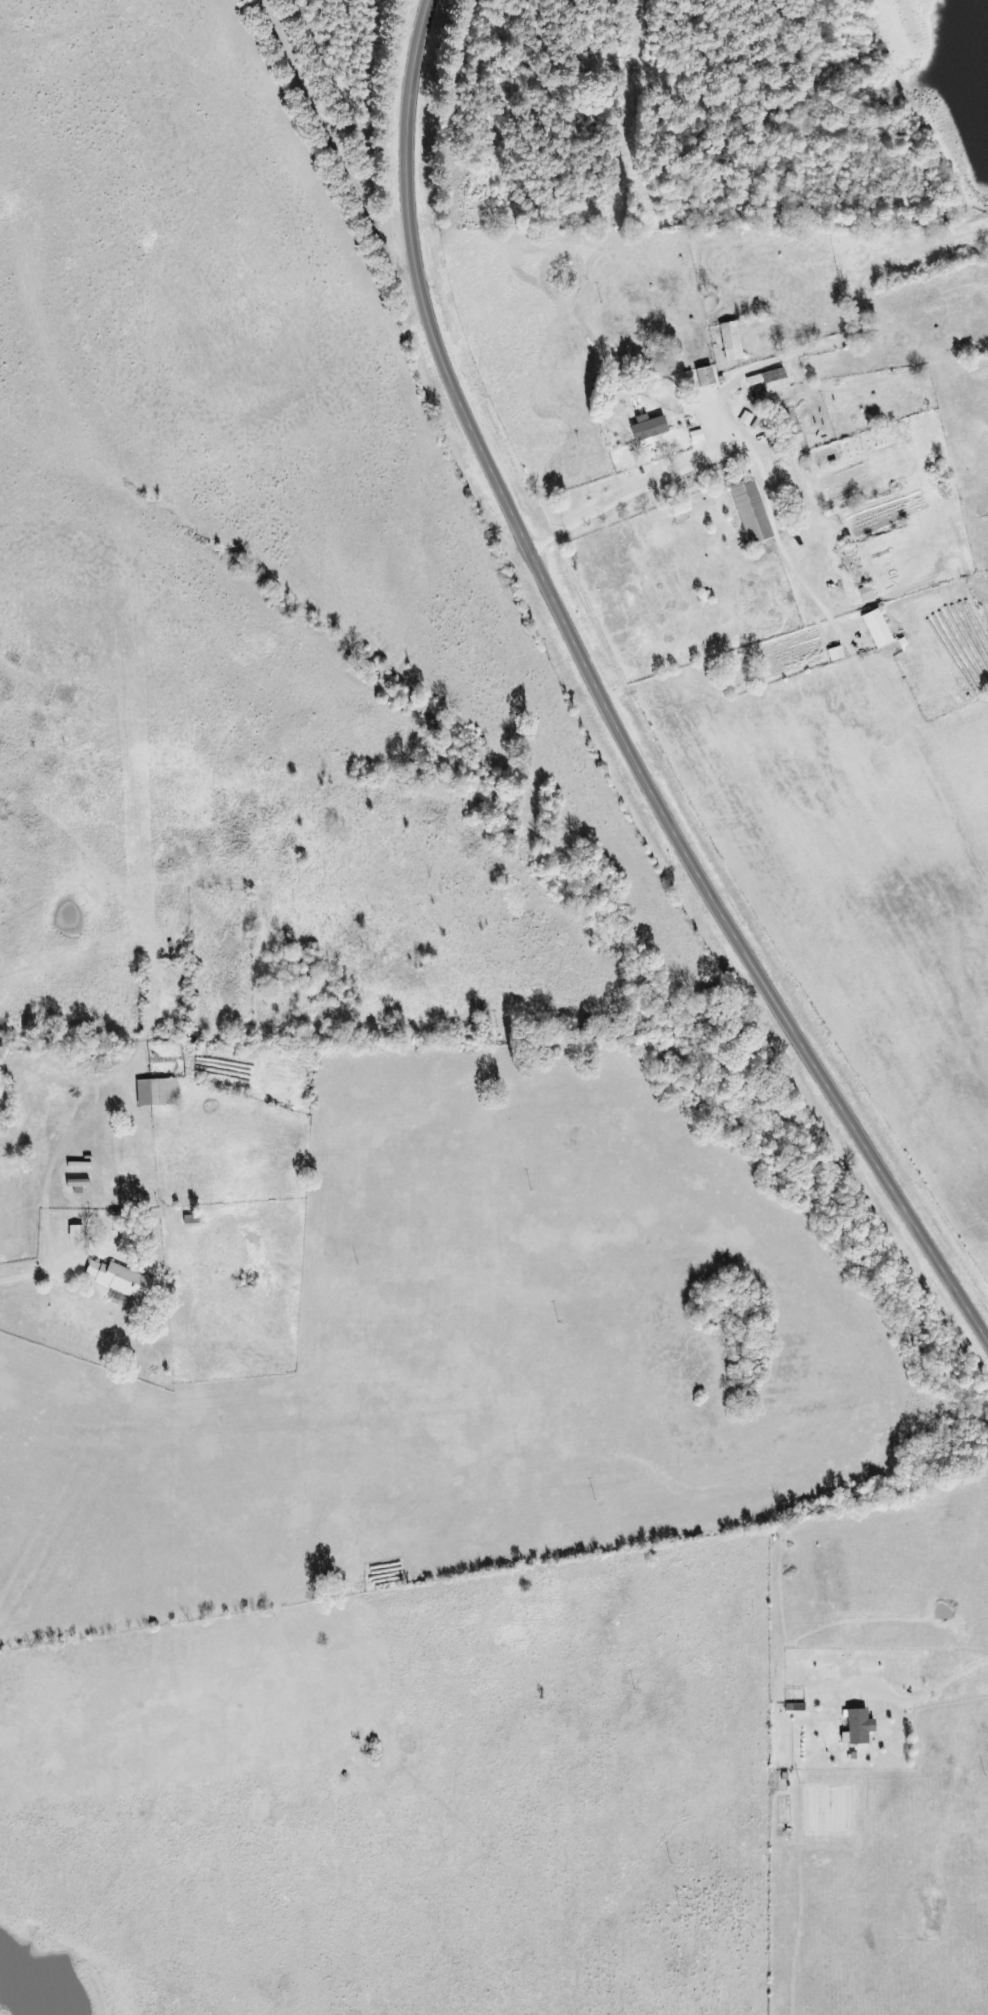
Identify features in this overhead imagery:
road: (429, 9)
building: (730, 341)
building: (704, 376)
building: (769, 380)
building: (647, 427)
building: (696, 435)
building: (749, 511)
building: (866, 593)
building: (876, 628)
building: (835, 653)
road: (614, 699)
building: (156, 1092)
road: (61, 1229)
building: (75, 1233)
building: (119, 1279)
building: (857, 1727)

